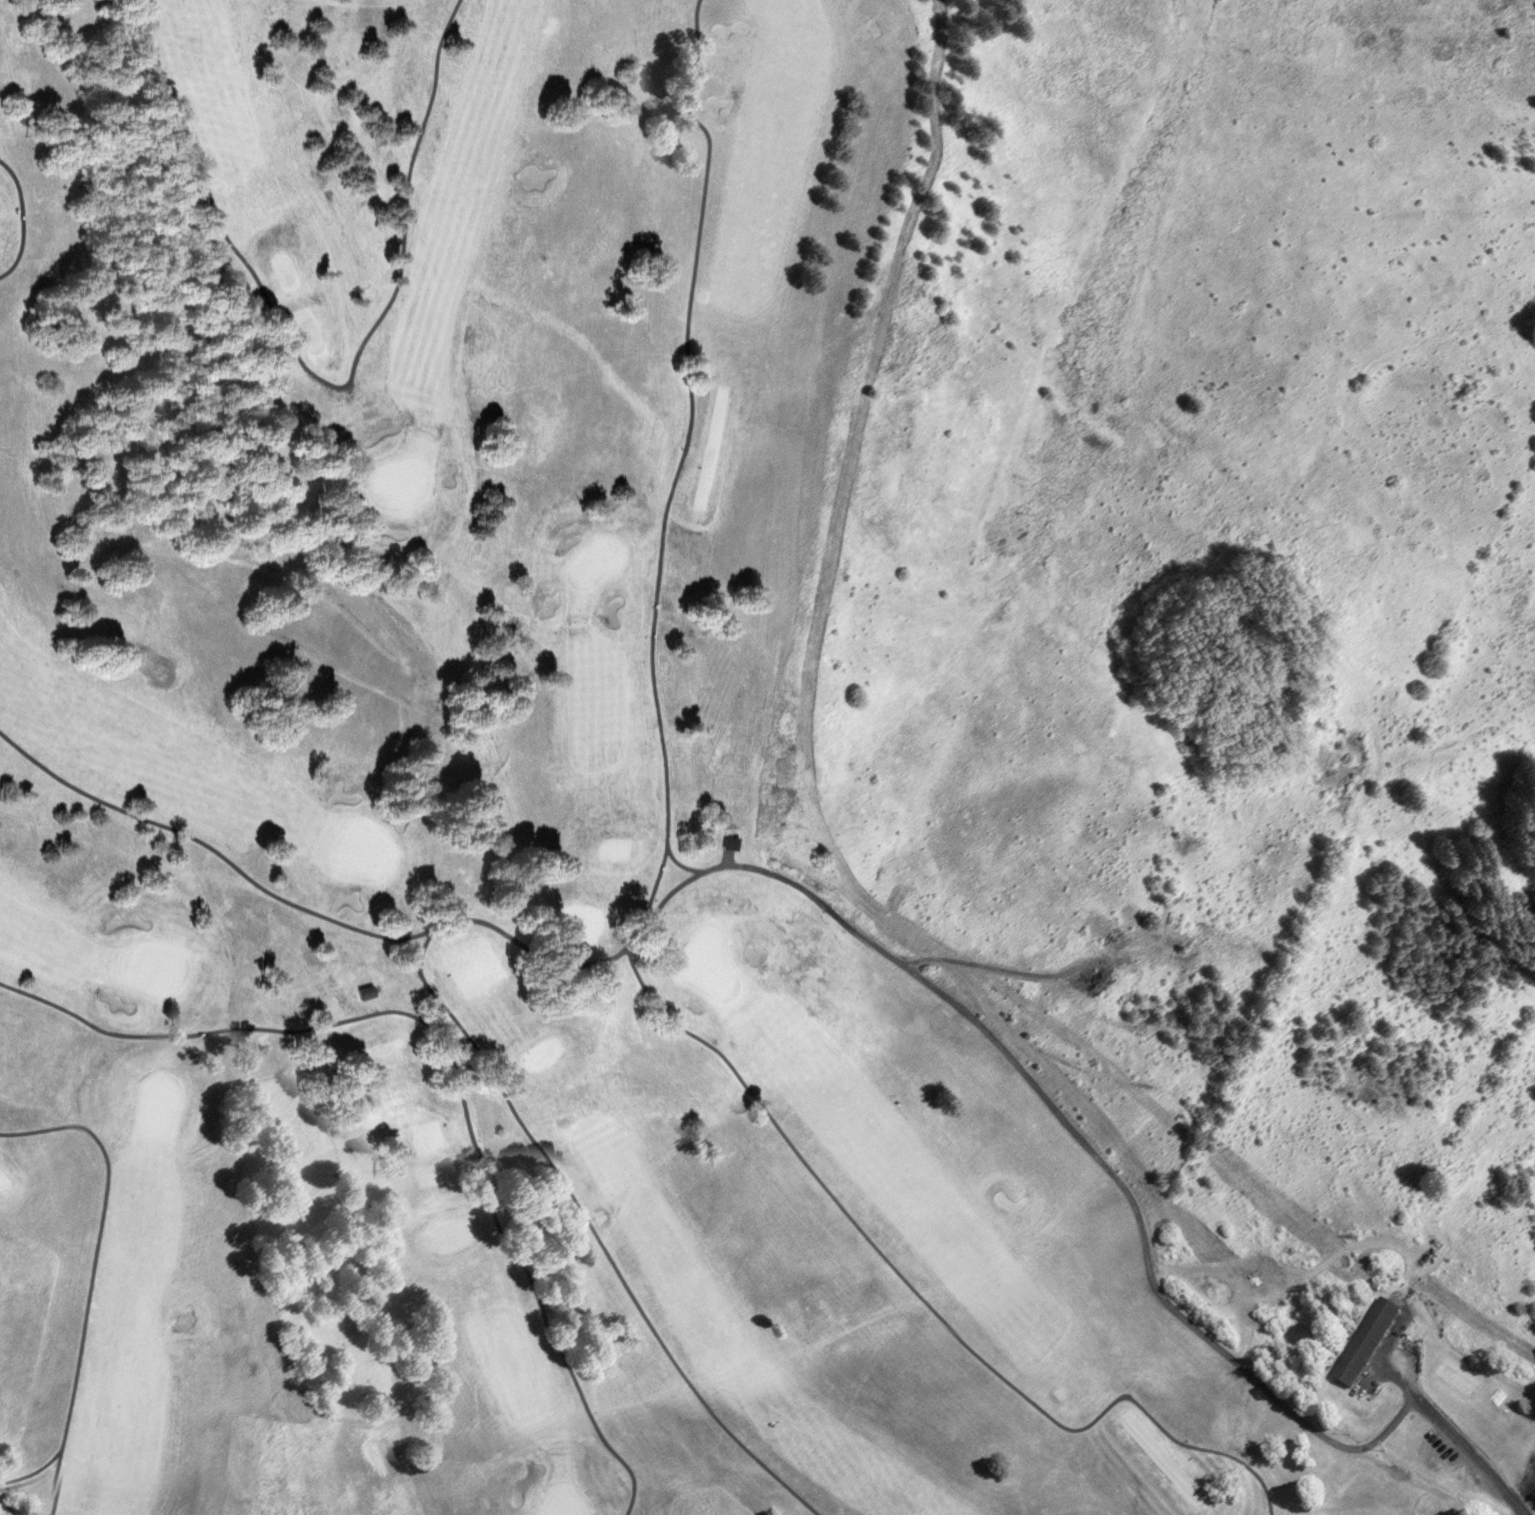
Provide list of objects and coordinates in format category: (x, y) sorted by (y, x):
road: (25, 219)
road: (315, 374)
road: (682, 460)
park: (497, 819)
building: (729, 842)
road: (682, 863)
road: (790, 878)
road: (422, 974)
building: (364, 992)
road: (455, 1062)
road: (608, 1256)
road: (90, 1276)
road: (922, 1301)
building: (1363, 1341)
building: (1494, 1392)
road: (1457, 1440)
road: (33, 1476)
road: (8, 1507)

